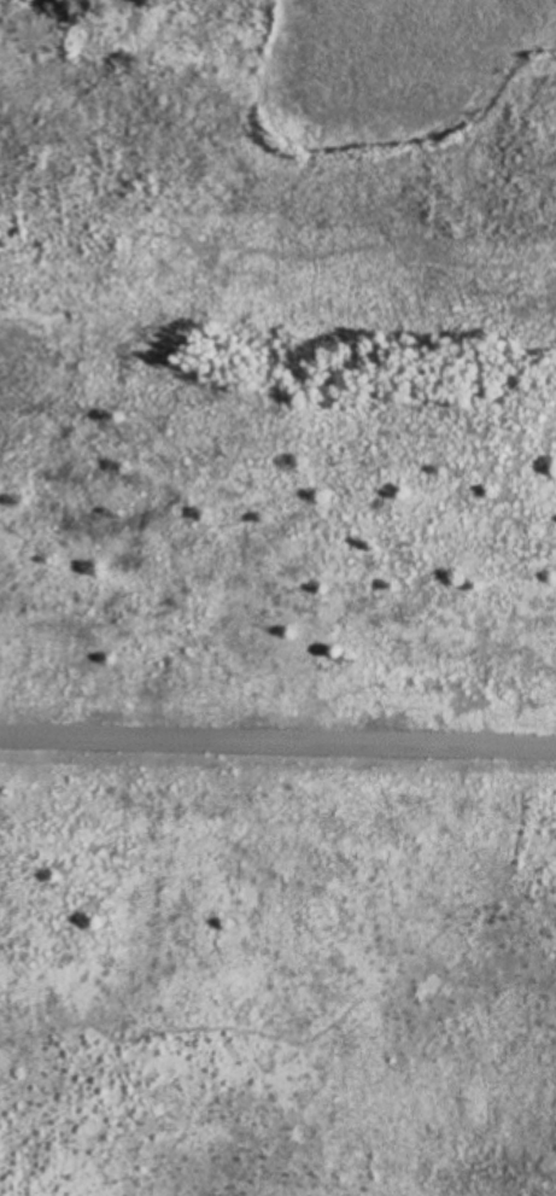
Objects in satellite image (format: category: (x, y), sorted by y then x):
road: (277, 741)

